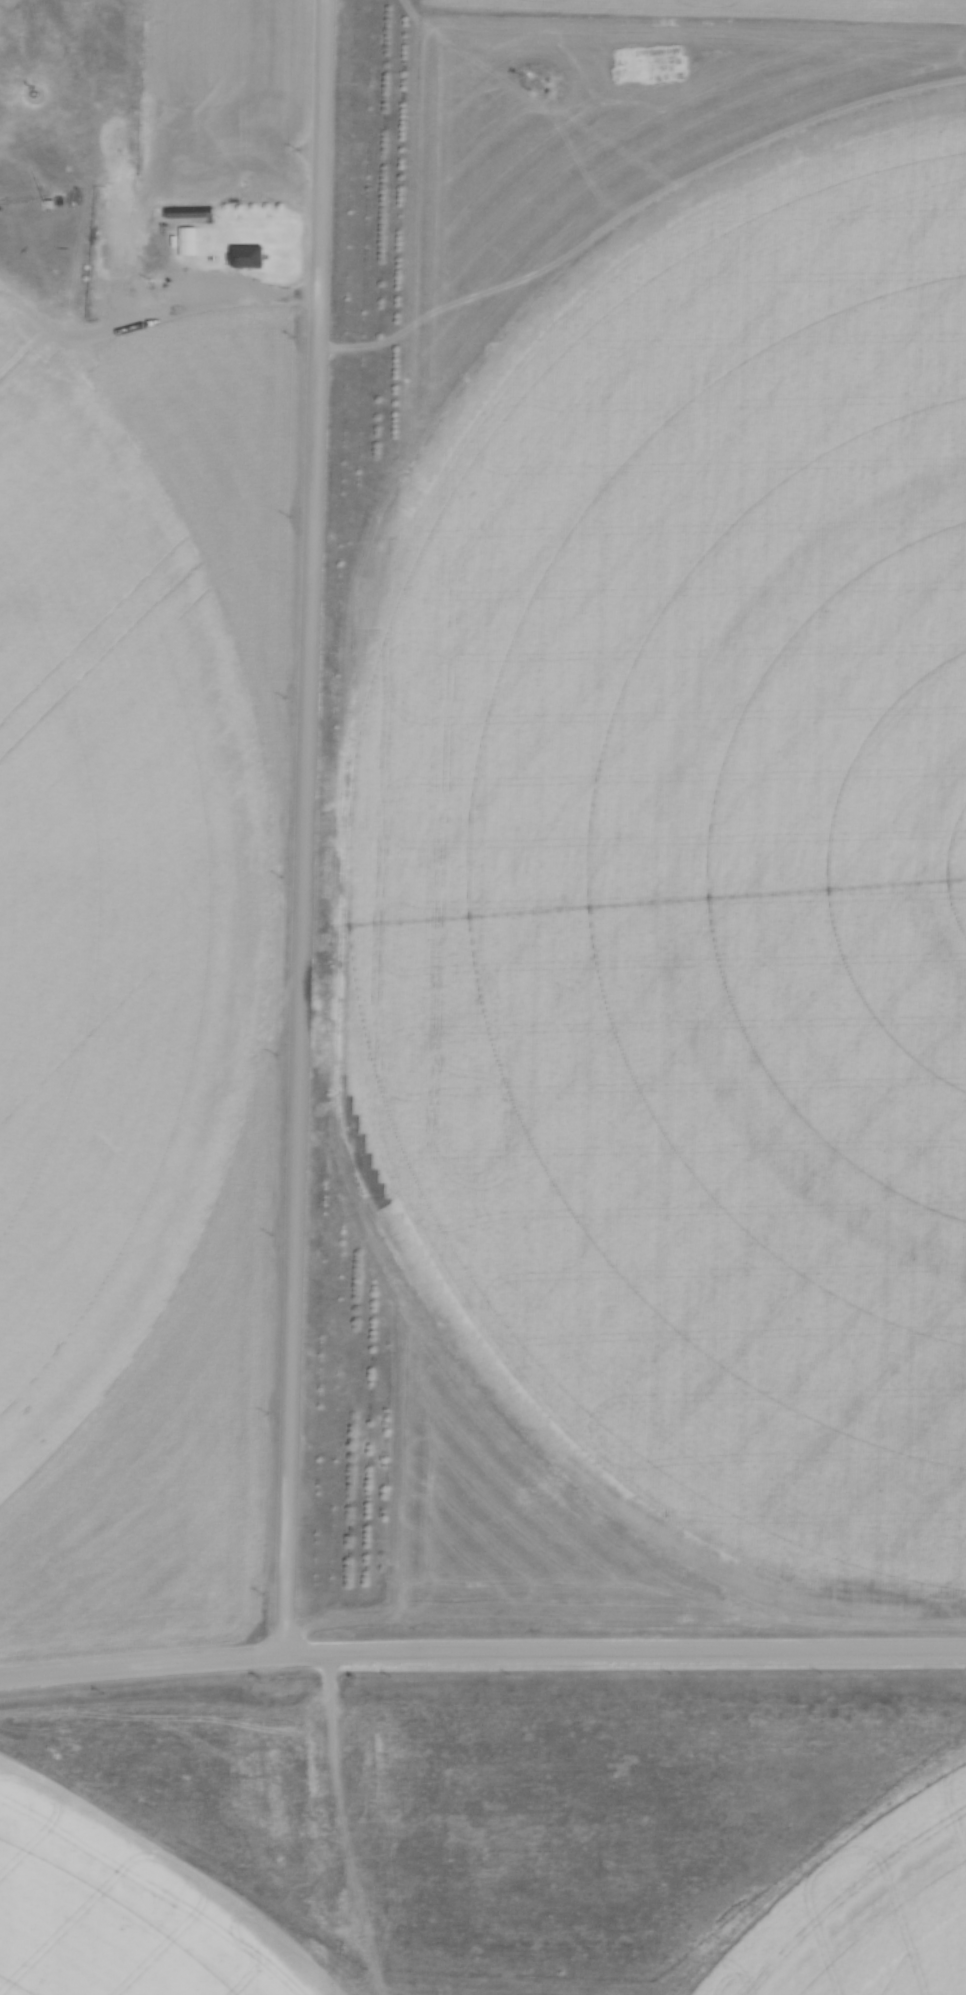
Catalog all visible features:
building: (168, 211)
building: (187, 241)
building: (247, 257)
road: (241, 292)
road: (304, 827)
road: (482, 1649)

